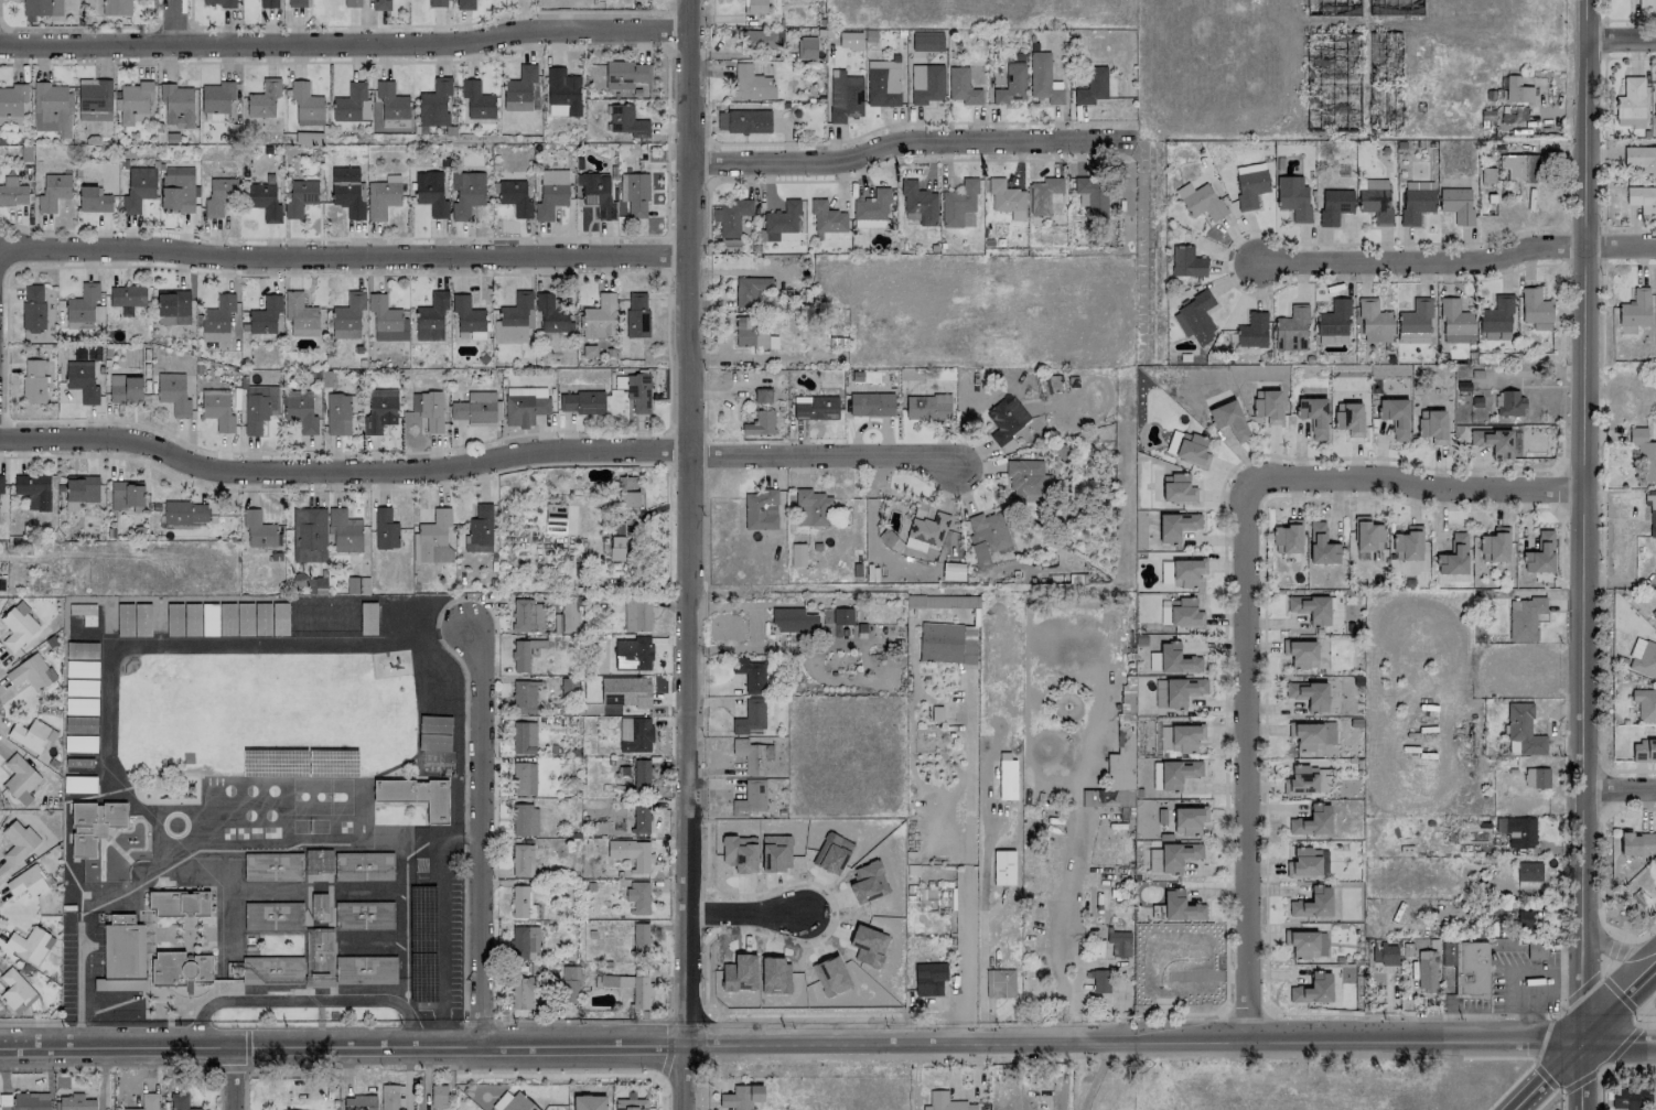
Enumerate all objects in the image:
building: (218, 2)
building: (268, 3)
building: (299, 3)
building: (352, 3)
building: (437, 3)
building: (1646, 3)
building: (40, 7)
building: (754, 7)
building: (116, 8)
building: (1332, 8)
building: (1397, 9)
road: (1620, 19)
road: (178, 22)
road: (1621, 33)
building: (761, 39)
building: (927, 41)
road: (345, 45)
building: (806, 47)
building: (627, 73)
building: (1042, 78)
building: (750, 83)
building: (882, 83)
building: (926, 83)
building: (1011, 85)
building: (1335, 85)
building: (961, 86)
building: (1092, 86)
building: (517, 88)
building: (561, 90)
building: (1517, 90)
building: (845, 97)
building: (92, 98)
building: (261, 99)
building: (215, 100)
building: (475, 100)
building: (1655, 100)
building: (132, 101)
building: (11, 103)
building: (1630, 103)
building: (304, 104)
building: (350, 104)
building: (175, 105)
building: (389, 105)
building: (432, 105)
building: (51, 107)
building: (626, 121)
building: (743, 121)
building: (309, 128)
road: (907, 140)
building: (1641, 158)
building: (1518, 166)
building: (137, 187)
building: (1250, 187)
building: (176, 190)
building: (347, 191)
building: (12, 192)
building: (53, 192)
building: (430, 193)
building: (465, 193)
building: (550, 193)
building: (634, 193)
building: (595, 194)
building: (1043, 194)
building: (217, 195)
building: (1092, 195)
building: (1292, 196)
building: (299, 197)
building: (381, 197)
building: (515, 197)
building: (1006, 198)
building: (1642, 198)
building: (93, 200)
building: (265, 201)
building: (1200, 201)
building: (1416, 202)
building: (1375, 204)
building: (1456, 204)
building: (872, 205)
building: (959, 205)
building: (1334, 205)
building: (730, 216)
building: (827, 218)
building: (781, 219)
road: (1620, 239)
road: (345, 255)
road: (1418, 260)
building: (1186, 261)
building: (749, 289)
building: (127, 295)
building: (82, 303)
building: (173, 306)
building: (32, 308)
building: (1535, 309)
building: (1635, 309)
building: (299, 312)
building: (265, 314)
building: (466, 314)
building: (550, 314)
building: (636, 314)
building: (347, 315)
building: (1496, 315)
building: (431, 316)
building: (599, 317)
building: (1194, 317)
building: (217, 319)
building: (514, 319)
building: (1333, 319)
building: (386, 320)
building: (1374, 322)
building: (1415, 322)
building: (1455, 322)
building: (1251, 330)
building: (1290, 330)
building: (752, 333)
building: (34, 380)
building: (82, 380)
building: (125, 388)
building: (638, 391)
building: (173, 394)
building: (762, 395)
building: (581, 401)
building: (870, 403)
building: (1508, 403)
building: (525, 405)
building: (259, 407)
building: (474, 407)
building: (815, 407)
building: (927, 407)
building: (1268, 407)
building: (379, 409)
building: (428, 409)
building: (299, 410)
building: (217, 411)
building: (337, 414)
building: (1313, 416)
building: (1395, 416)
building: (1006, 419)
building: (1228, 419)
building: (1349, 419)
building: (760, 423)
building: (1432, 427)
building: (1493, 442)
building: (1008, 445)
building: (1191, 450)
building: (1644, 453)
road: (827, 456)
road: (344, 474)
building: (1023, 479)
building: (1, 483)
road: (1418, 486)
building: (82, 488)
building: (33, 489)
building: (1176, 489)
building: (625, 492)
building: (126, 495)
building: (809, 506)
building: (761, 509)
building: (184, 513)
building: (1652, 513)
road: (690, 522)
building: (1175, 526)
building: (258, 529)
building: (385, 529)
building: (480, 529)
building: (928, 529)
building: (344, 530)
building: (309, 535)
building: (986, 535)
building: (1367, 535)
building: (1288, 537)
building: (435, 538)
building: (900, 541)
building: (1407, 543)
building: (1320, 545)
building: (1494, 545)
building: (616, 548)
building: (1539, 553)
road: (1585, 554)
building: (1453, 556)
building: (953, 571)
building: (1186, 571)
building: (2, 582)
building: (357, 584)
building: (942, 601)
building: (1311, 608)
building: (1184, 613)
building: (566, 614)
building: (527, 615)
building: (636, 615)
building: (842, 615)
building: (1524, 617)
building: (793, 619)
building: (1655, 621)
building: (18, 626)
building: (264, 627)
building: (947, 643)
building: (524, 653)
building: (633, 653)
building: (1300, 653)
building: (1643, 658)
building: (1175, 659)
building: (31, 672)
building: (750, 673)
building: (1182, 690)
building: (625, 691)
building: (1309, 694)
road: (106, 696)
building: (523, 697)
building: (1645, 704)
park: (259, 714)
building: (750, 716)
building: (1521, 730)
building: (31, 734)
building: (634, 734)
building: (1311, 734)
building: (1185, 736)
building: (523, 737)
building: (1643, 751)
building: (752, 755)
road: (1248, 759)
building: (1176, 773)
building: (641, 775)
building: (19, 776)
building: (1007, 776)
building: (1536, 777)
building: (523, 778)
building: (1301, 780)
road: (1621, 790)
building: (417, 795)
road: (968, 797)
building: (750, 798)
building: (639, 817)
building: (524, 819)
building: (1187, 819)
building: (1312, 821)
building: (94, 825)
road: (440, 831)
building: (1517, 831)
road: (476, 833)
building: (18, 841)
building: (1636, 843)
building: (631, 852)
building: (1178, 855)
building: (1655, 856)
building: (521, 861)
building: (1308, 862)
building: (316, 863)
building: (363, 865)
building: (272, 866)
building: (1003, 867)
building: (1528, 874)
building: (26, 882)
building: (637, 896)
building: (521, 902)
building: (180, 903)
building: (1312, 903)
building: (1180, 906)
road: (743, 914)
building: (272, 915)
building: (363, 915)
building: (1524, 922)
road: (1639, 936)
building: (639, 938)
road: (1057, 940)
building: (1118, 942)
parking lot: (437, 944)
building: (1305, 944)
building: (29, 945)
building: (1535, 949)
road: (1619, 950)
building: (120, 952)
building: (1388, 952)
road: (1610, 953)
road: (980, 956)
road: (968, 959)
building: (294, 963)
building: (1466, 967)
building: (181, 969)
building: (365, 969)
building: (1426, 969)
building: (928, 978)
building: (1098, 979)
building: (1001, 982)
building: (569, 983)
building: (528, 989)
building: (1313, 989)
road: (312, 991)
building: (641, 991)
road: (1580, 991)
building: (15, 992)
road: (1622, 996)
road: (311, 999)
road: (302, 1001)
road: (1620, 1005)
road: (319, 1017)
road: (25, 1022)
road: (195, 1022)
road: (580, 1022)
road: (116, 1023)
road: (476, 1023)
road: (300, 1027)
road: (981, 1033)
road: (1133, 1044)
road: (1620, 1044)
road: (341, 1045)
road: (1622, 1045)
road: (667, 1049)
road: (1531, 1058)
road: (357, 1061)
road: (247, 1067)
road: (1550, 1074)
road: (556, 1075)
road: (1542, 1076)
road: (682, 1077)
road: (1095, 1077)
road: (235, 1078)
road: (1580, 1080)
road: (1555, 1089)
road: (663, 1093)
building: (438, 1095)
building: (391, 1097)
building: (741, 1097)
building: (1631, 1099)
building: (31, 1101)
building: (148, 1101)
building: (180, 1101)
building: (499, 1101)
building: (359, 1102)
building: (588, 1102)
building: (631, 1102)
building: (946, 1102)
building: (518, 1103)

